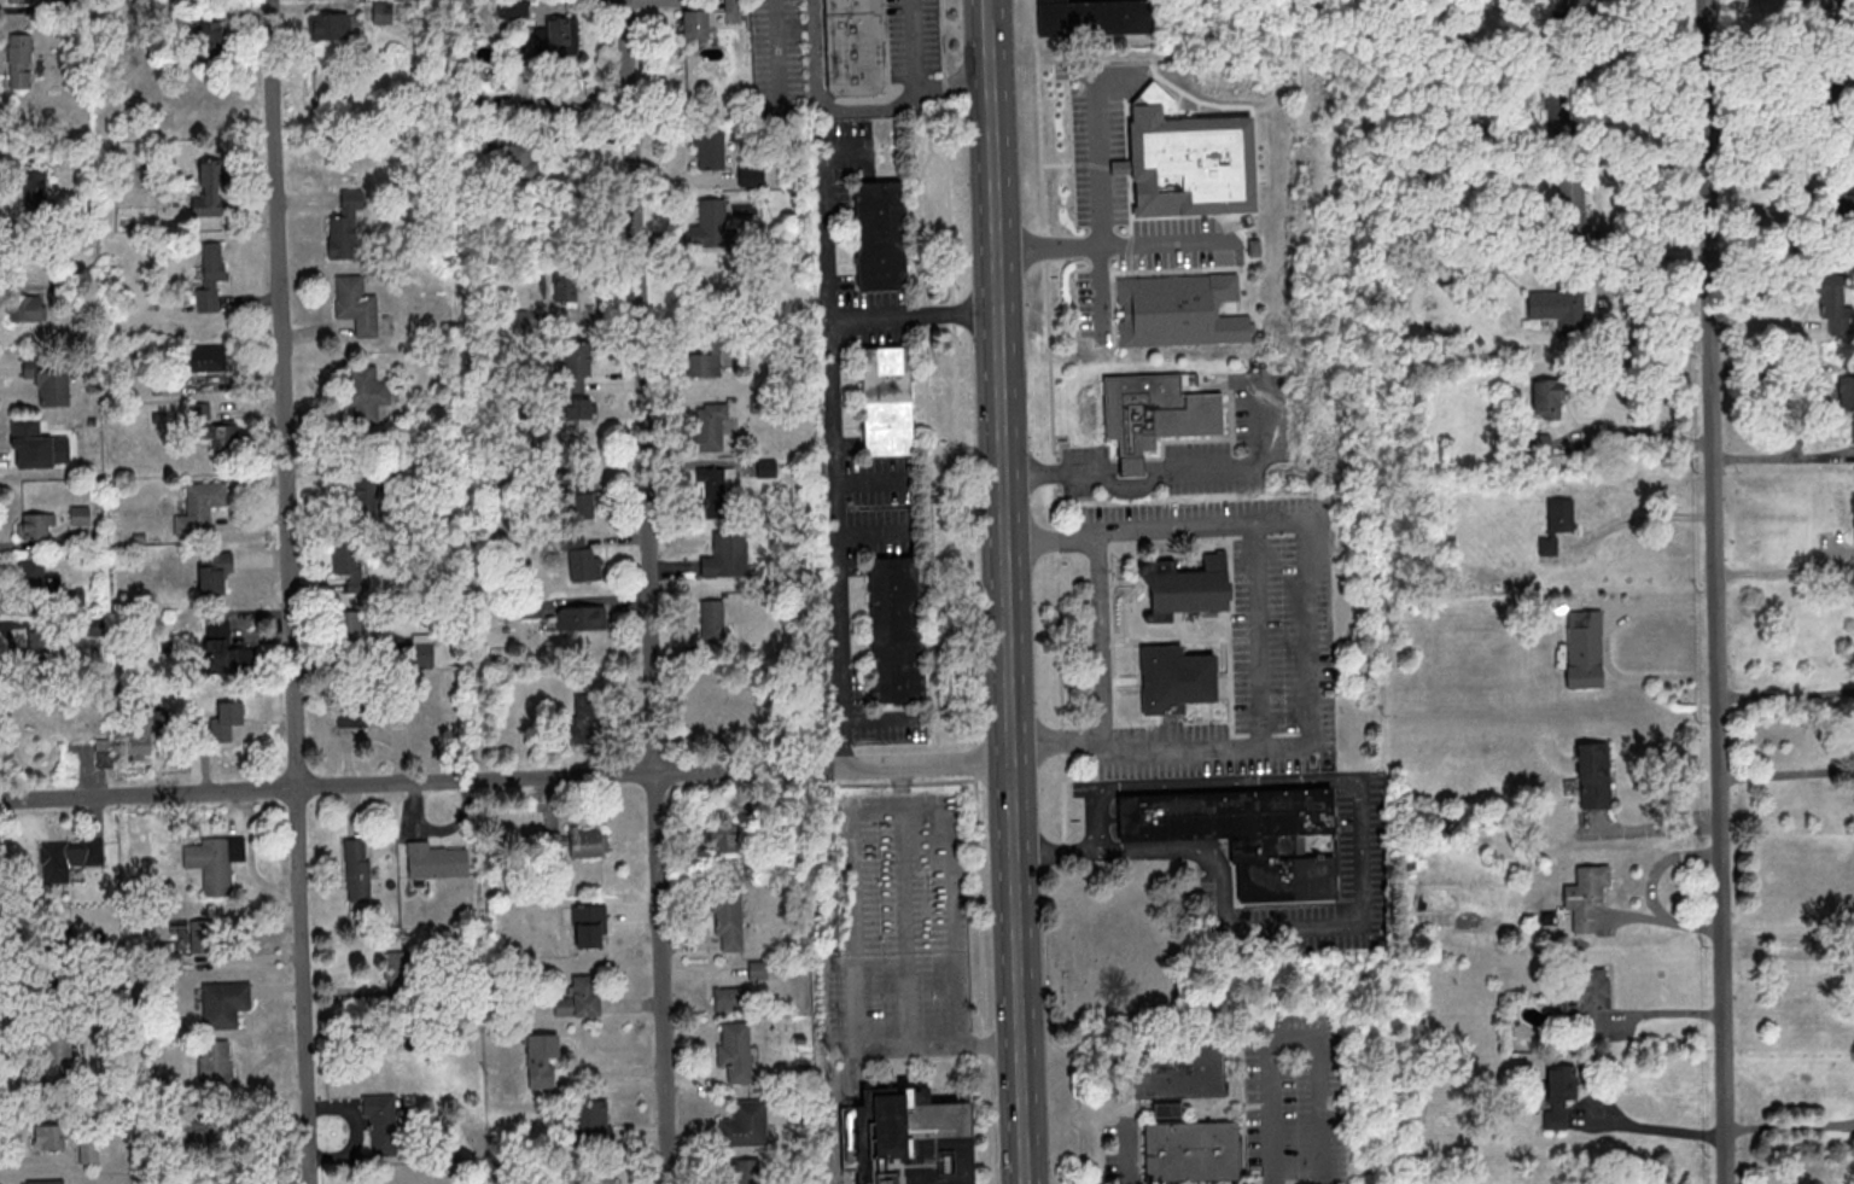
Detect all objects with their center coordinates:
building: (22, 1)
building: (1825, 4)
building: (1574, 5)
building: (506, 8)
road: (990, 10)
building: (1095, 17)
building: (695, 23)
building: (327, 25)
building: (562, 35)
building: (208, 36)
road: (940, 37)
building: (853, 47)
building: (19, 60)
road: (956, 84)
building: (1562, 107)
road: (845, 109)
building: (710, 148)
building: (1668, 158)
building: (1188, 159)
building: (524, 161)
building: (751, 175)
building: (31, 188)
building: (210, 191)
road: (1777, 193)
road: (1098, 198)
building: (1842, 200)
building: (1572, 209)
road: (827, 218)
building: (524, 223)
building: (345, 224)
building: (707, 224)
building: (881, 234)
road: (1112, 245)
building: (210, 276)
building: (565, 286)
building: (356, 302)
building: (1837, 303)
building: (30, 307)
building: (1558, 309)
building: (1180, 310)
building: (526, 317)
building: (205, 358)
building: (707, 358)
building: (575, 364)
building: (48, 377)
building: (366, 391)
building: (1847, 395)
building: (1546, 398)
building: (887, 399)
road: (1811, 404)
building: (581, 408)
building: (199, 413)
building: (1155, 414)
building: (710, 426)
road: (1640, 428)
building: (223, 436)
building: (45, 439)
road: (834, 461)
building: (765, 467)
road: (1170, 469)
road: (1154, 471)
road: (1107, 472)
road: (1130, 472)
building: (712, 488)
building: (366, 492)
building: (575, 497)
building: (200, 506)
building: (80, 517)
building: (1561, 517)
building: (35, 527)
building: (725, 555)
building: (350, 565)
building: (585, 566)
road: (1784, 571)
building: (214, 572)
building: (43, 587)
building: (1187, 588)
road: (1307, 588)
road: (292, 591)
road: (649, 591)
road: (1716, 591)
road: (1010, 601)
building: (582, 618)
building: (712, 618)
building: (350, 625)
building: (896, 629)
road: (1258, 636)
road: (1607, 640)
road: (1106, 641)
building: (1584, 648)
building: (47, 649)
building: (223, 649)
building: (422, 649)
building: (1174, 678)
building: (729, 706)
building: (352, 715)
building: (223, 719)
building: (583, 719)
building: (138, 734)
road: (1063, 745)
building: (103, 752)
road: (1788, 774)
building: (1593, 775)
road: (508, 780)
road: (902, 782)
road: (1654, 827)
building: (1249, 835)
building: (724, 836)
building: (588, 841)
road: (1051, 852)
building: (68, 857)
road: (1360, 859)
building: (436, 861)
building: (215, 862)
building: (357, 869)
road: (1652, 887)
building: (1586, 894)
building: (728, 918)
building: (589, 926)
road: (1788, 929)
building: (200, 935)
park: (1103, 962)
building: (758, 969)
road: (909, 979)
building: (579, 997)
building: (733, 997)
building: (1586, 1001)
building: (225, 1003)
road: (1295, 1033)
building: (734, 1050)
building: (56, 1051)
road: (927, 1056)
building: (215, 1060)
building: (542, 1061)
building: (1176, 1071)
building: (1558, 1093)
road: (1075, 1108)
road: (987, 1118)
building: (591, 1121)
building: (380, 1124)
building: (745, 1124)
road: (1790, 1126)
road: (1662, 1131)
building: (53, 1133)
building: (914, 1135)
building: (1189, 1148)
building: (89, 1151)
building: (747, 1171)
building: (602, 1177)
building: (46, 1182)

